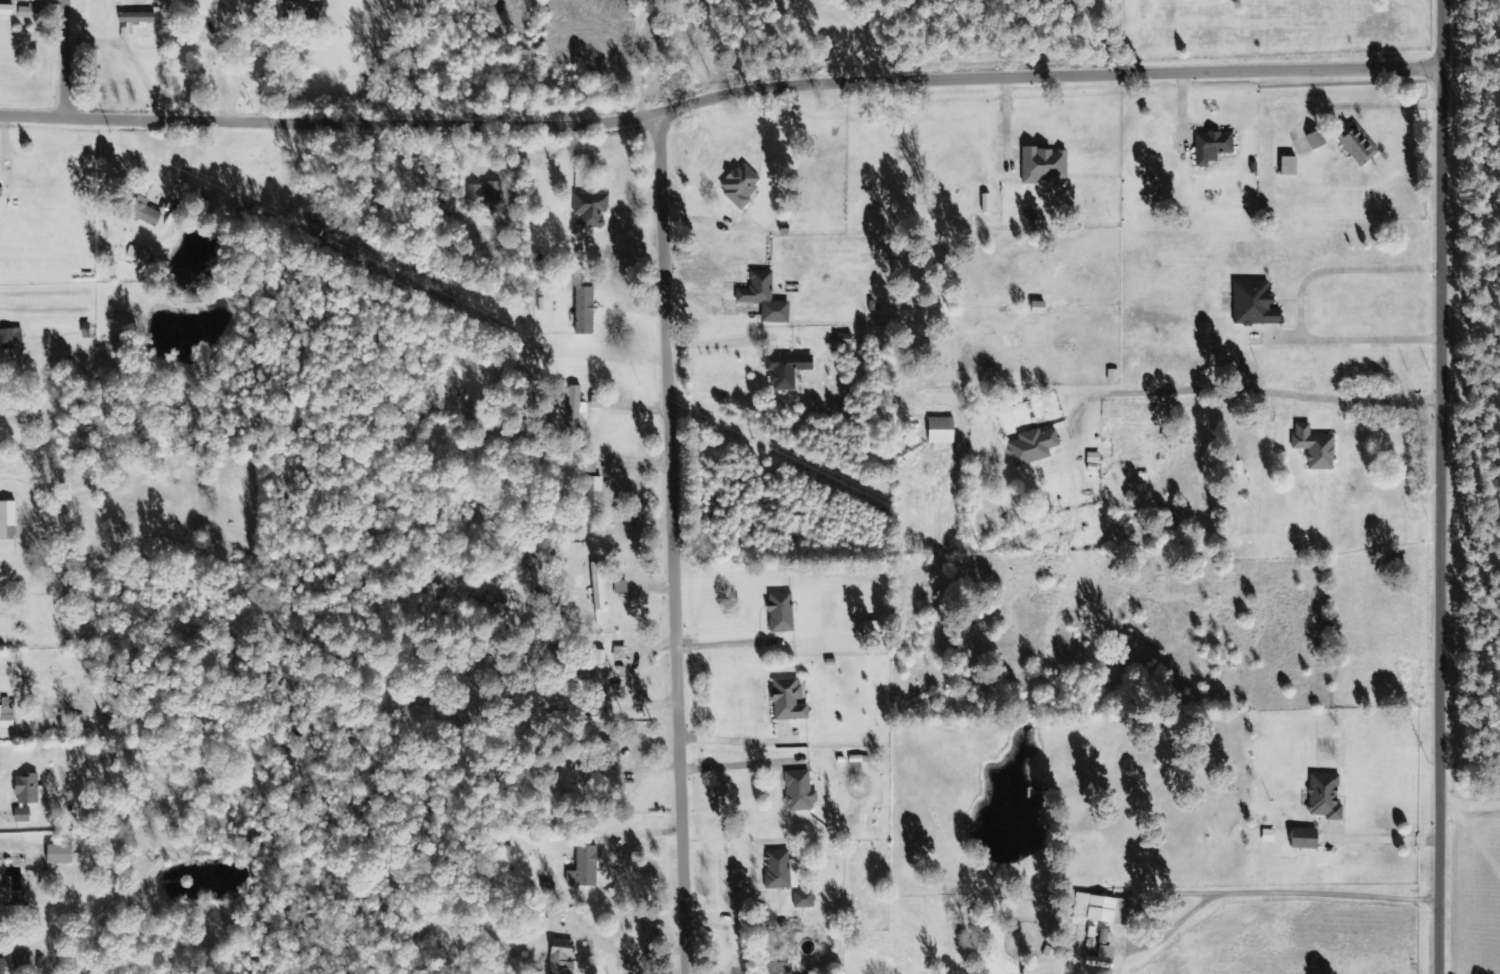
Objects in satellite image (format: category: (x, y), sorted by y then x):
building: (302, 9)
building: (6, 10)
building: (137, 18)
road: (77, 59)
road: (721, 99)
building: (1316, 140)
building: (1359, 146)
building: (1213, 147)
building: (1045, 166)
building: (741, 185)
building: (486, 196)
building: (591, 208)
building: (145, 212)
building: (138, 254)
building: (765, 298)
building: (1255, 305)
building: (1039, 308)
building: (585, 311)
building: (11, 339)
building: (788, 370)
building: (575, 407)
building: (941, 431)
building: (1032, 447)
building: (1316, 448)
building: (1094, 458)
road: (1444, 486)
building: (592, 494)
building: (8, 521)
road: (676, 542)
building: (598, 586)
building: (781, 613)
building: (620, 654)
building: (789, 700)
building: (6, 715)
building: (28, 790)
building: (799, 792)
building: (1325, 797)
building: (23, 816)
building: (1305, 839)
building: (60, 855)
building: (585, 868)
building: (780, 871)
building: (4, 890)
building: (804, 900)
building: (1102, 910)
building: (563, 957)
building: (1103, 959)
building: (21, 961)
building: (2, 967)

